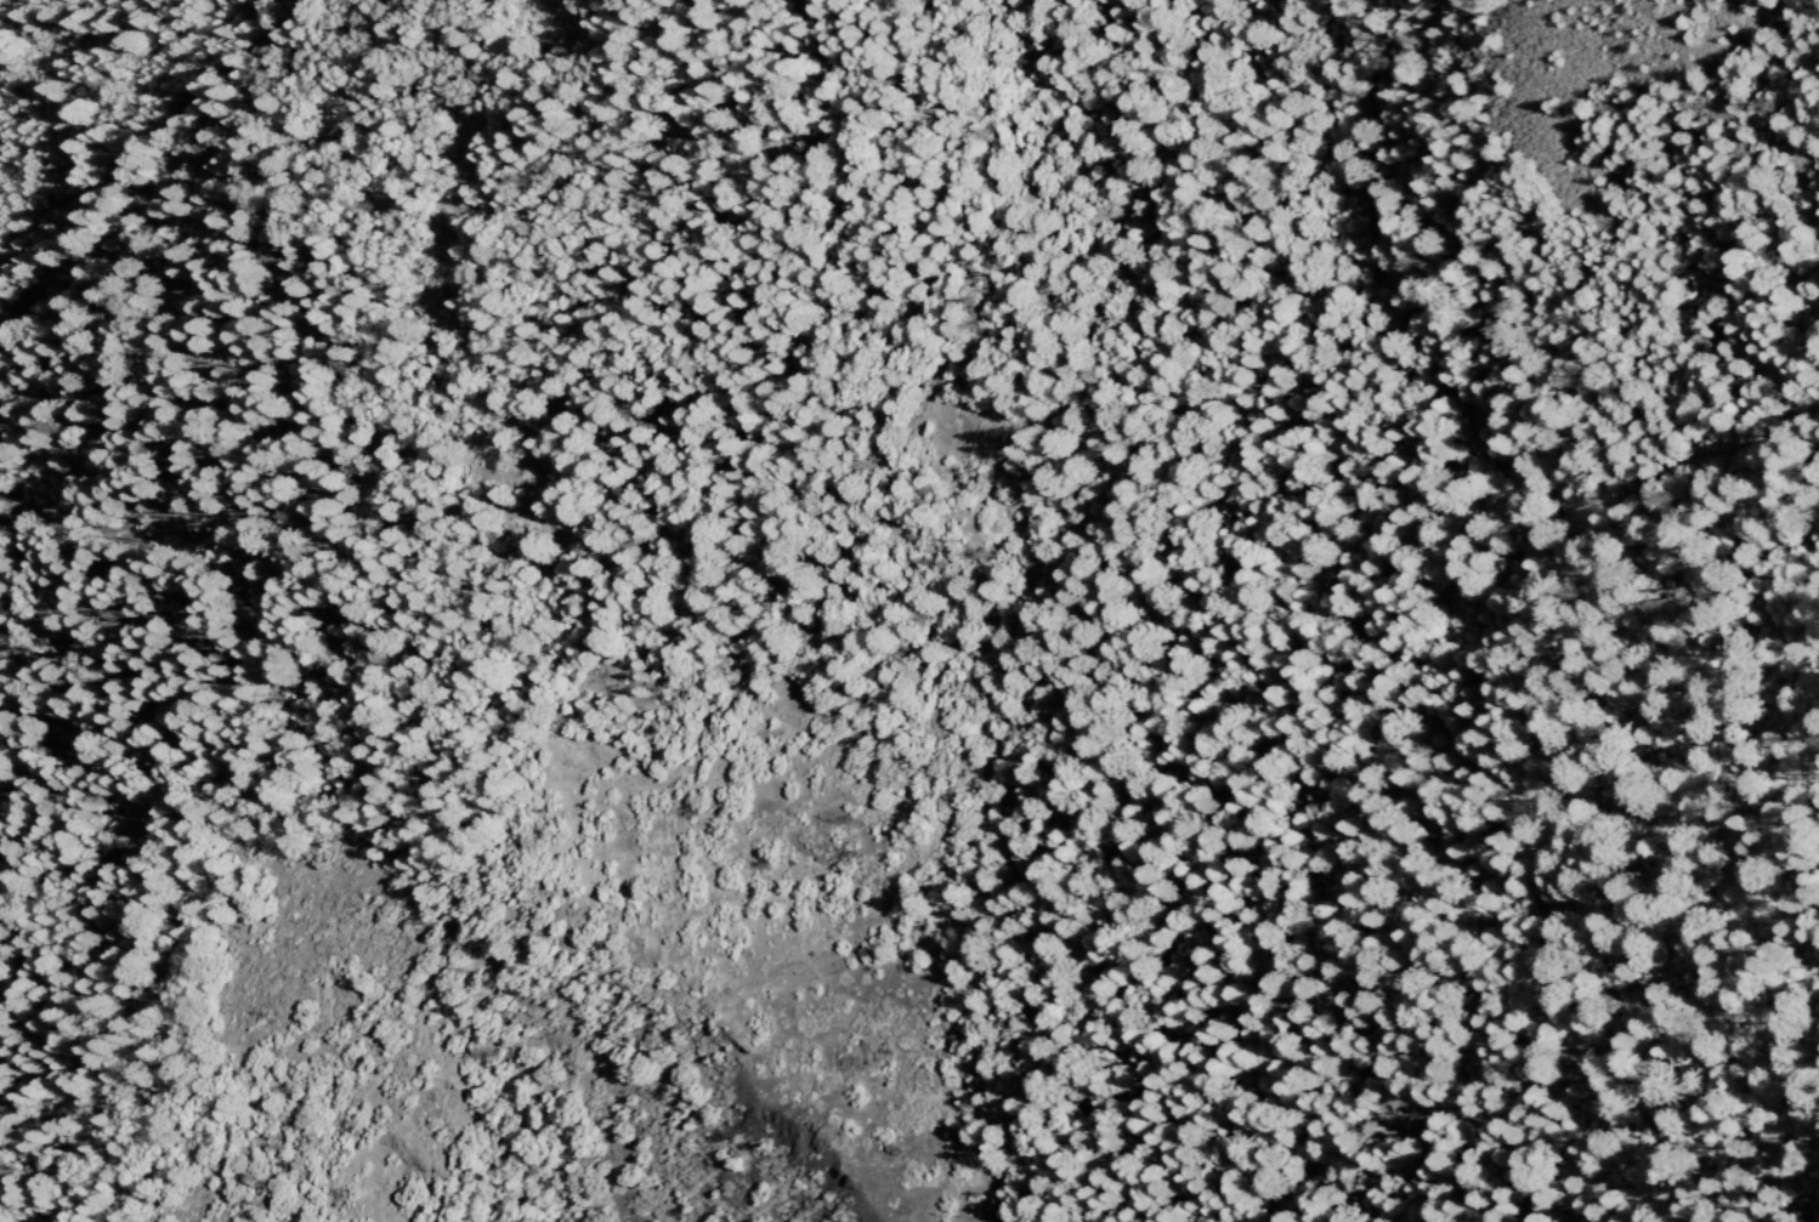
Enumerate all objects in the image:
road: (138, 158)
road: (4, 320)

